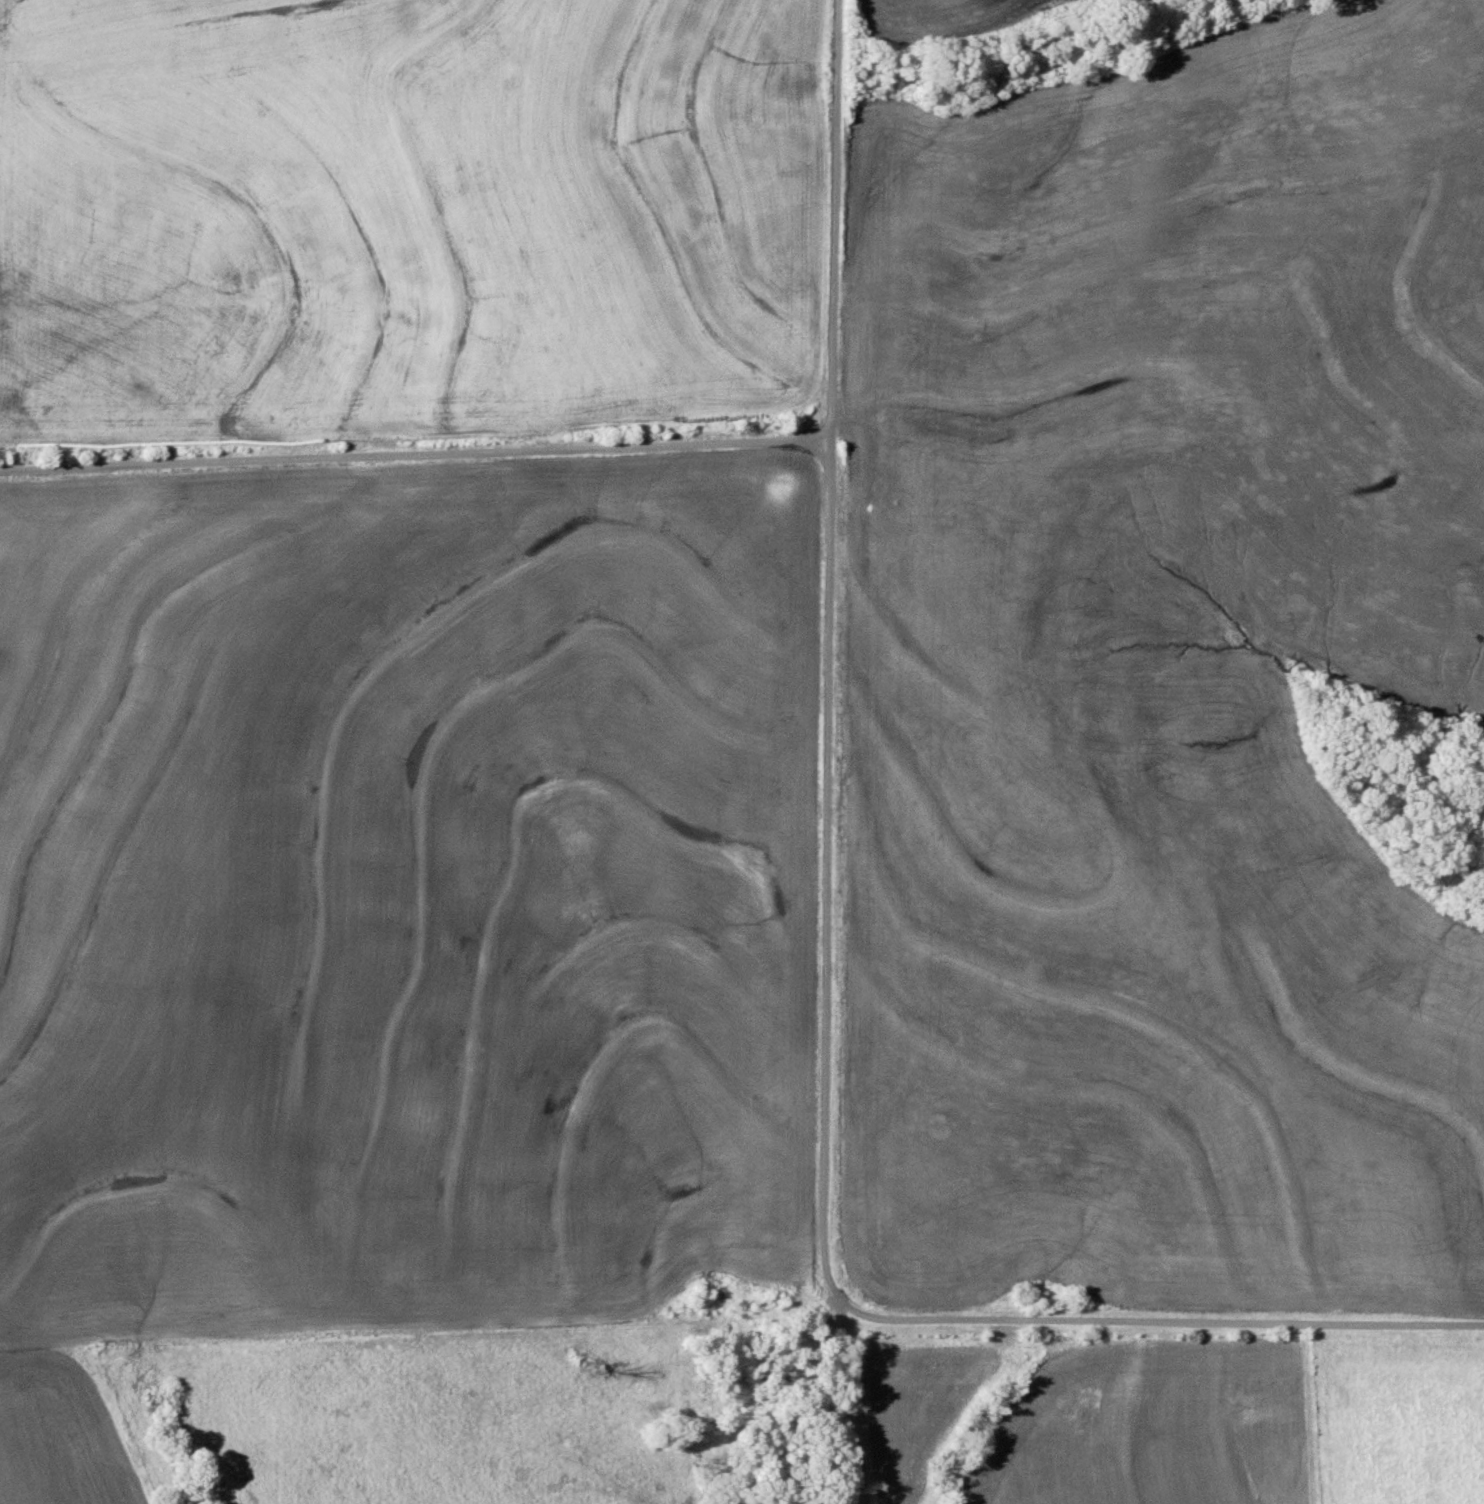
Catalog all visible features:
road: (416, 455)
road: (831, 686)
road: (1192, 1320)

